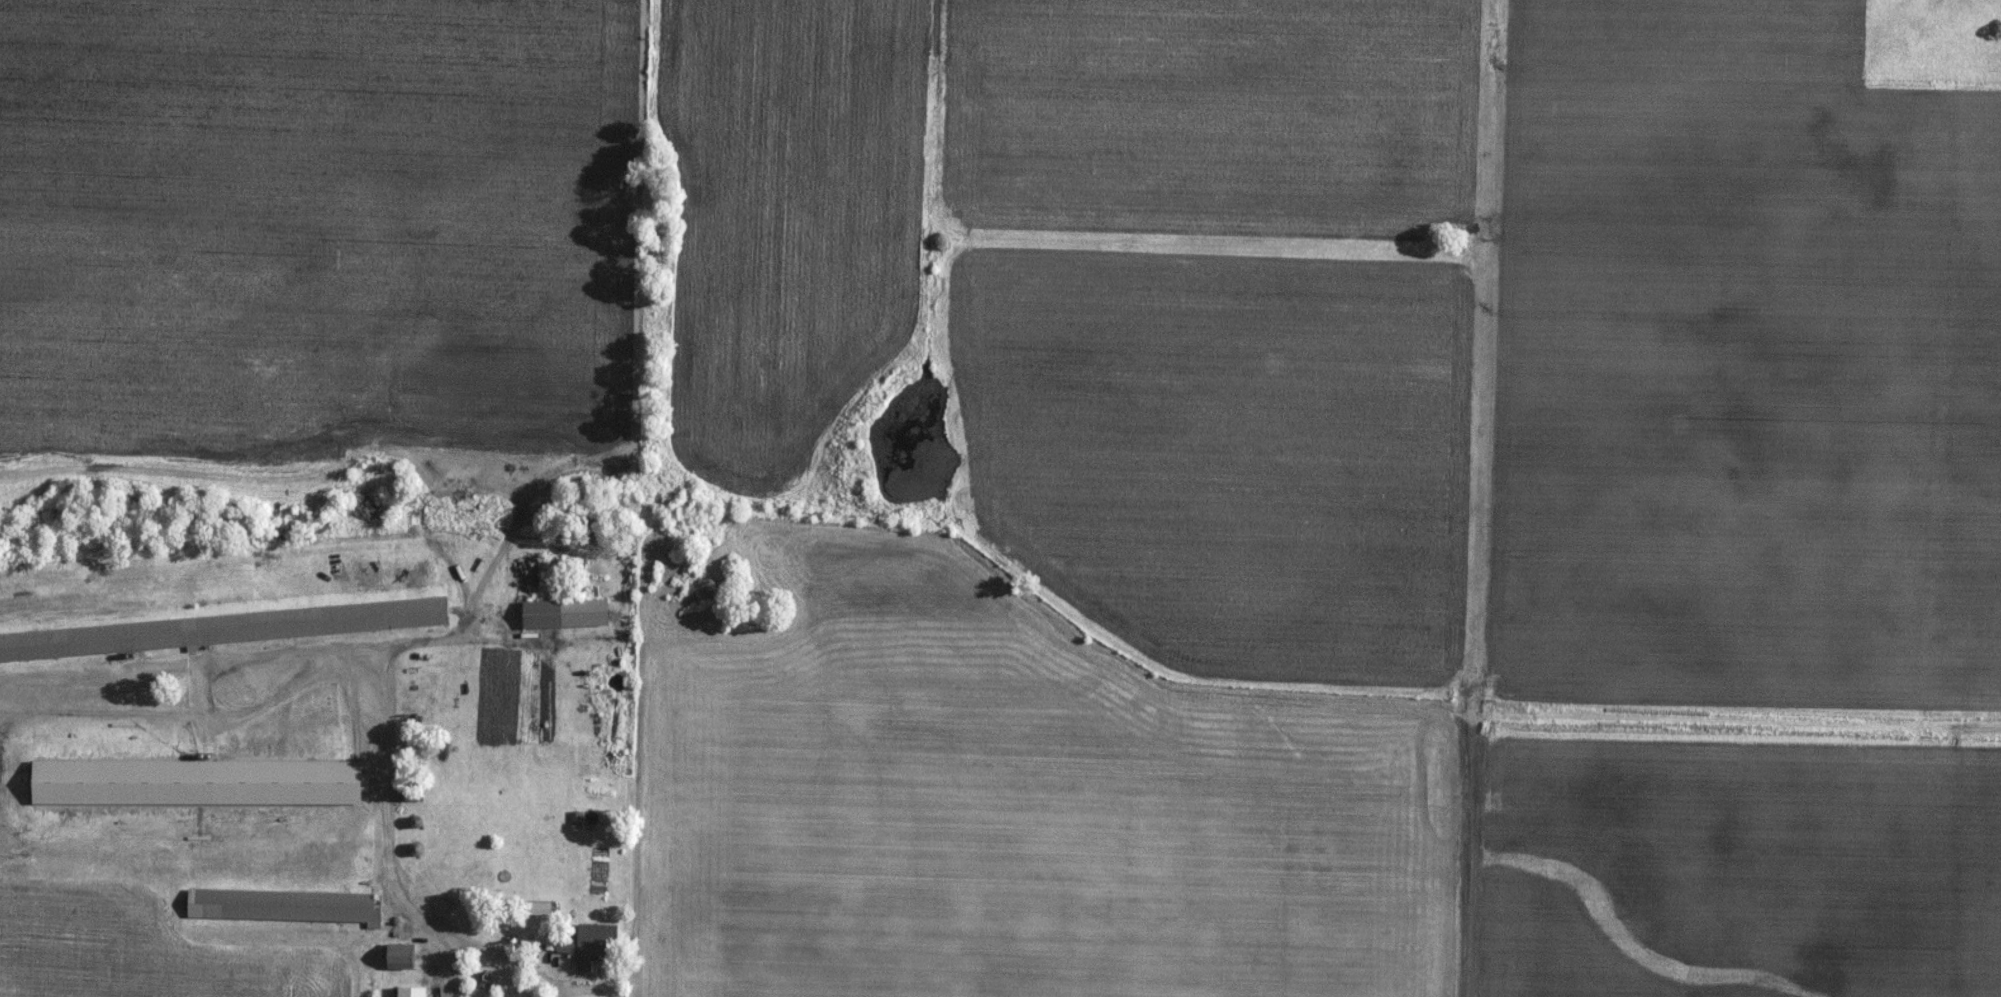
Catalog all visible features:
building: (562, 614)
building: (214, 630)
road: (333, 650)
building: (411, 794)
road: (391, 836)
building: (286, 907)
building: (539, 909)
building: (588, 944)
building: (400, 956)
road: (590, 971)
building: (411, 991)

